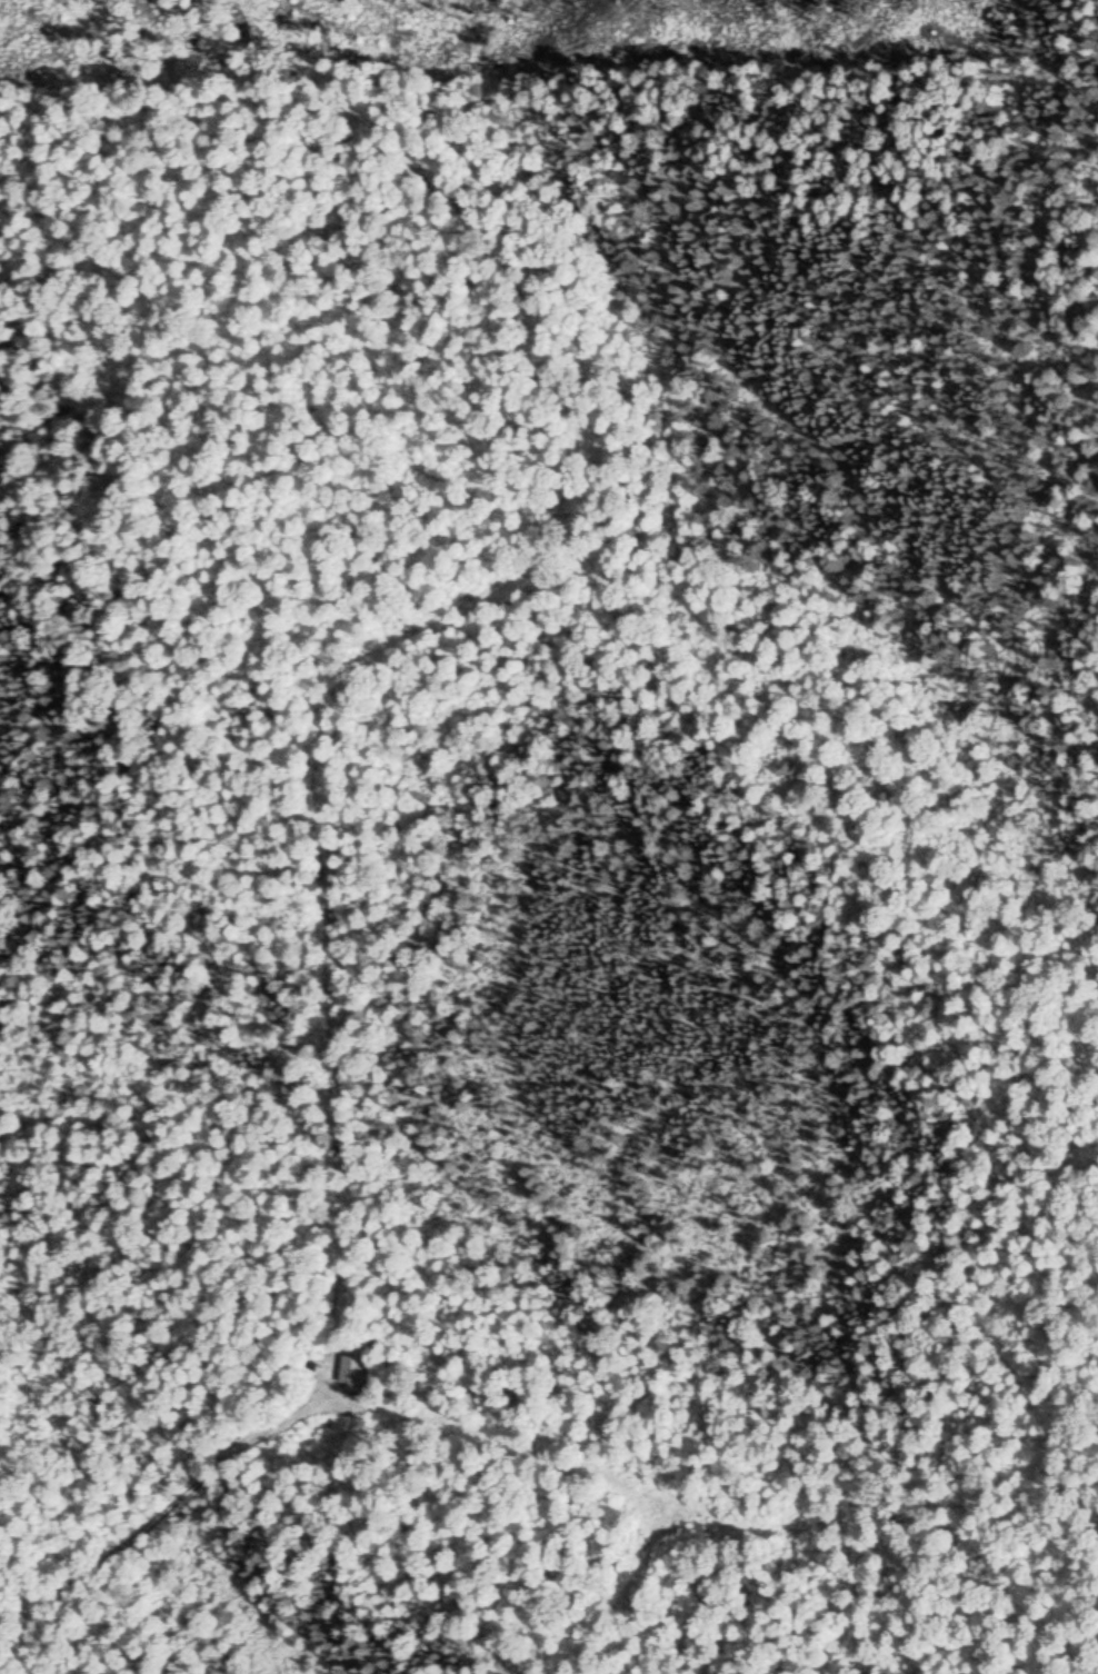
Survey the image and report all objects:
building: (357, 1372)

